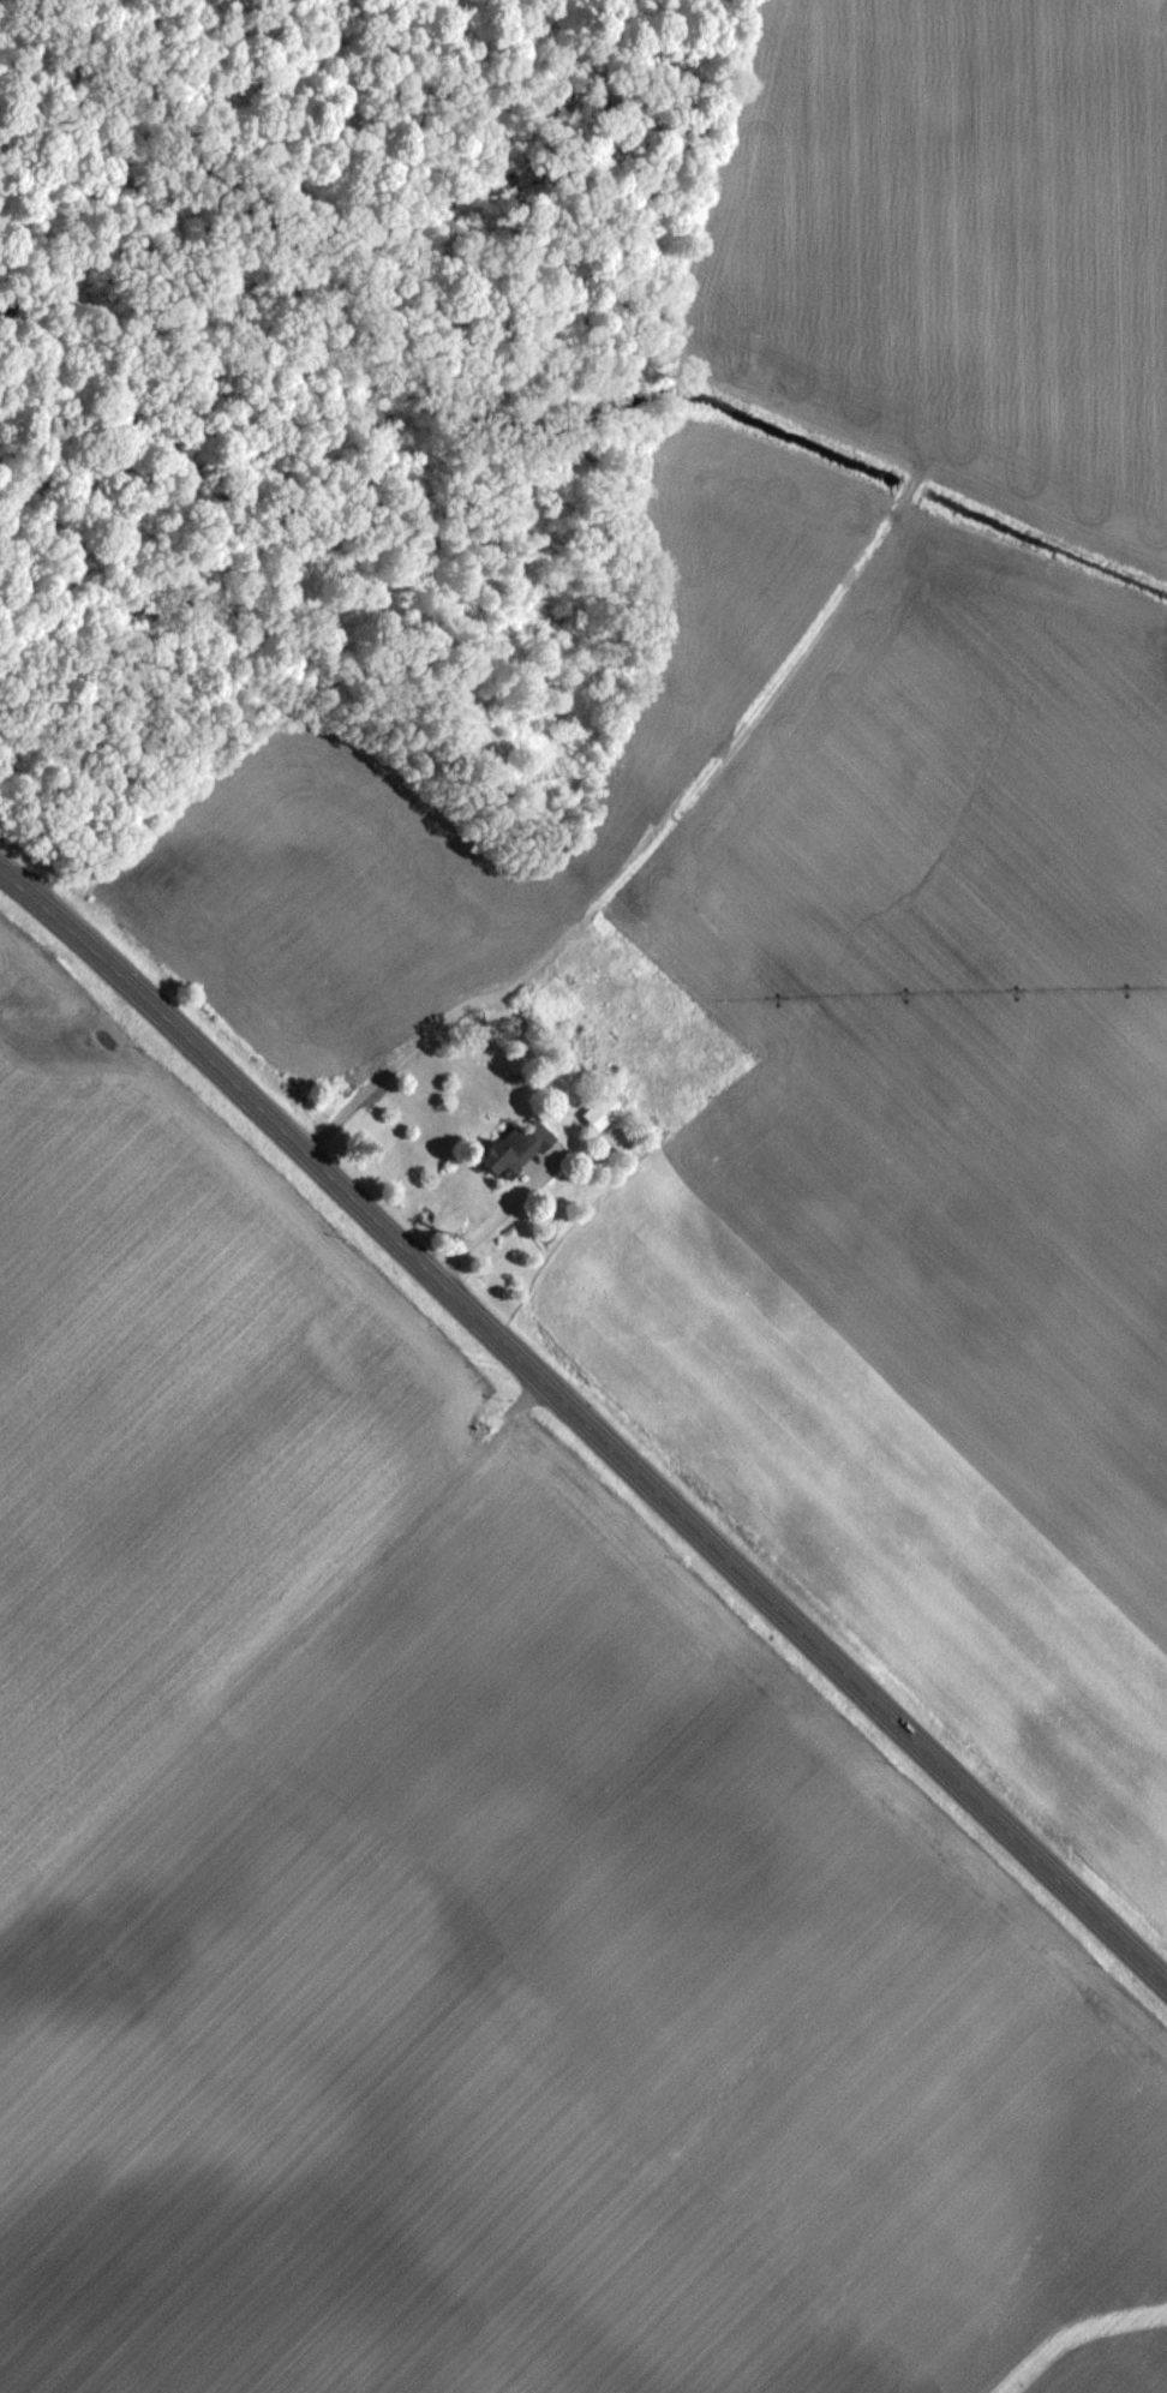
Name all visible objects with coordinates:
building: (597, 1111)
building: (505, 1148)
road: (487, 1227)
road: (586, 1422)

